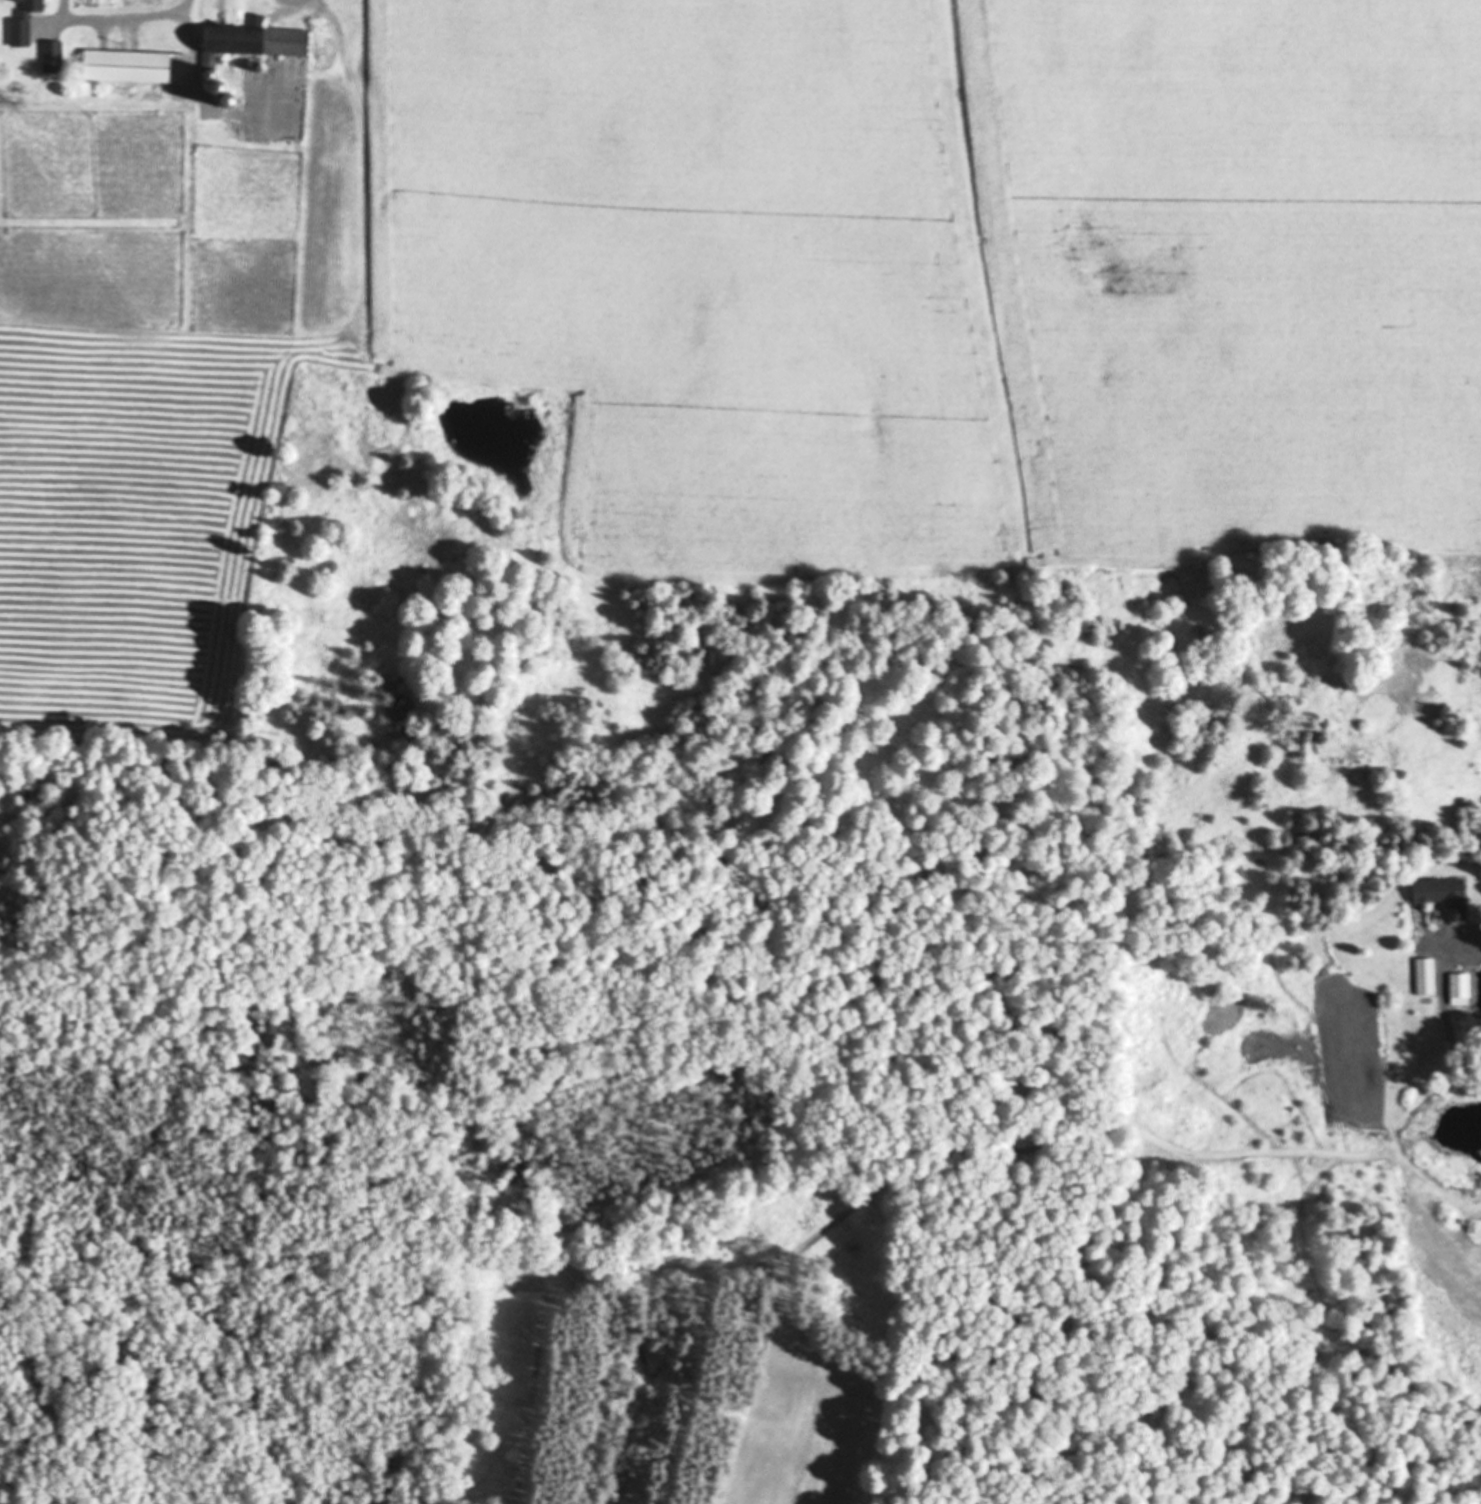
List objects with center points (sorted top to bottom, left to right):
building: (33, 6)
building: (20, 34)
building: (252, 45)
building: (53, 59)
building: (127, 68)
building: (222, 93)
building: (1445, 896)
building: (1426, 978)
building: (1460, 990)
building: (1462, 1040)

